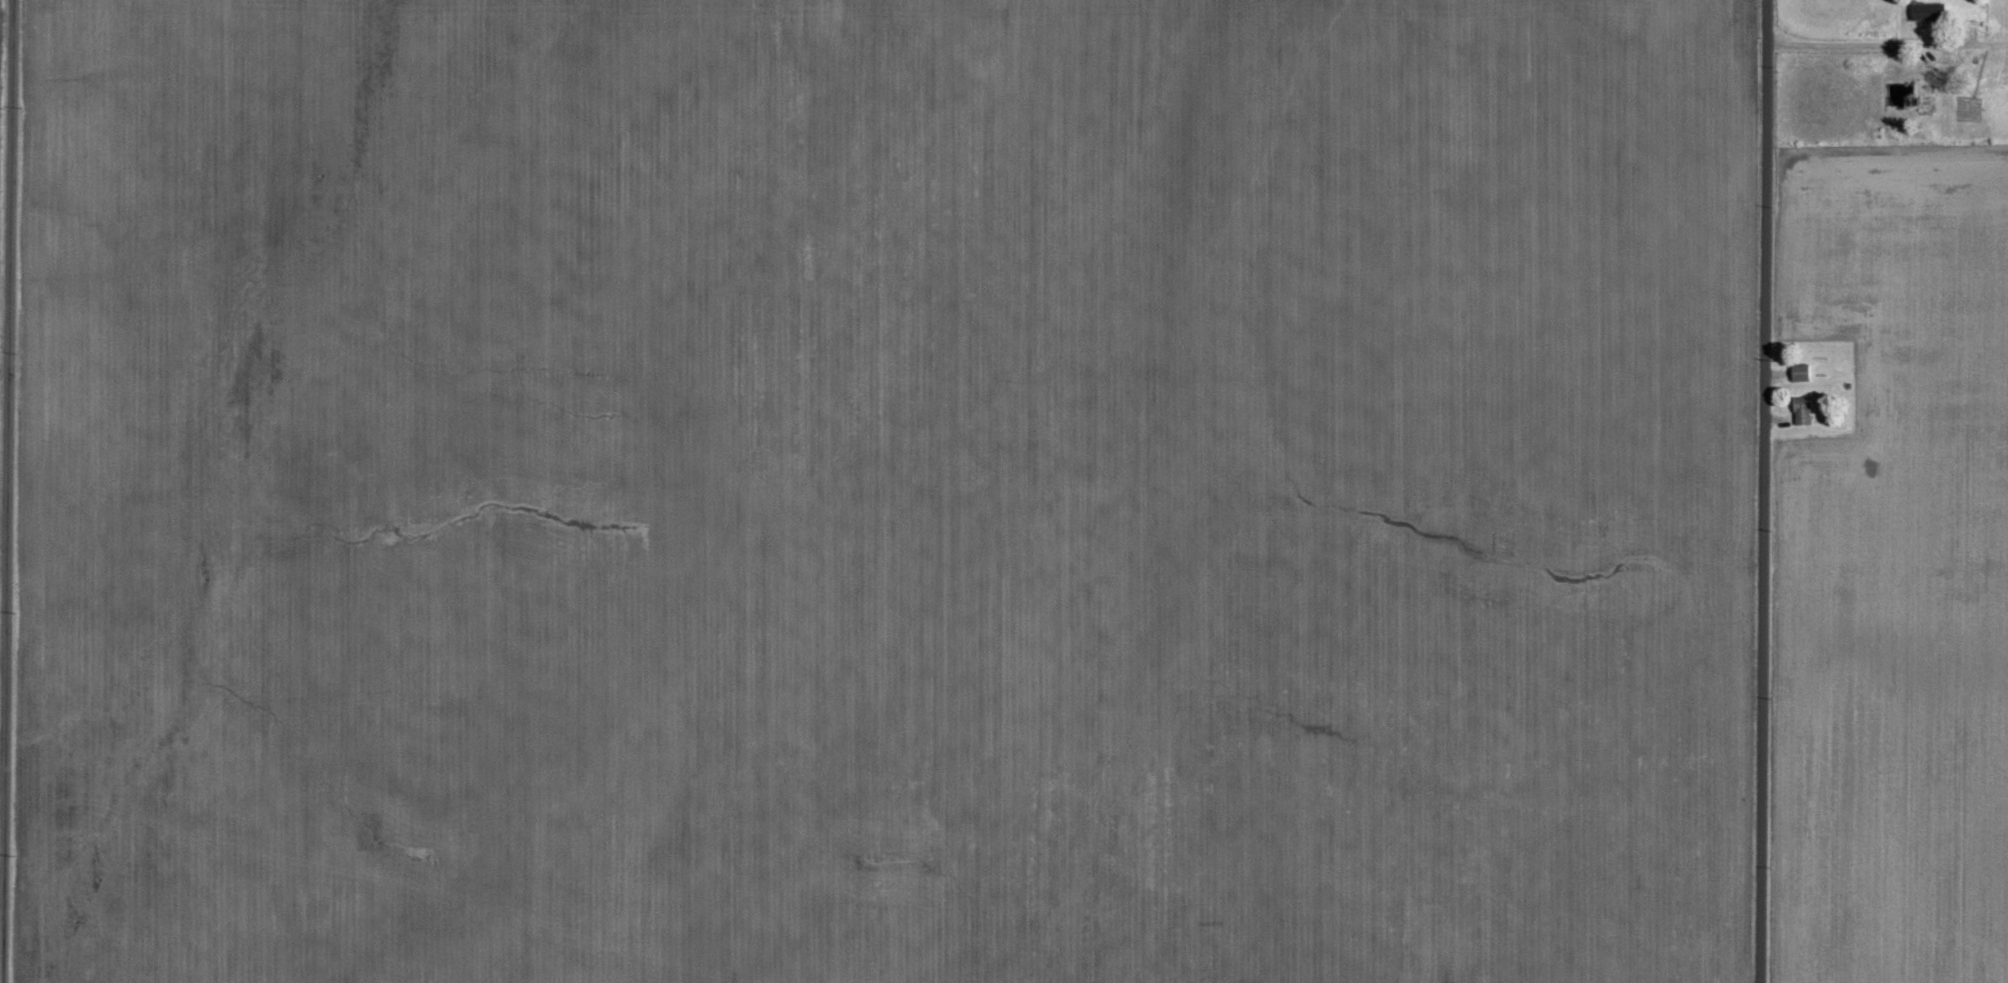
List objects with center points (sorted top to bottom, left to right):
building: (1800, 372)
road: (8, 491)
road: (1764, 491)

